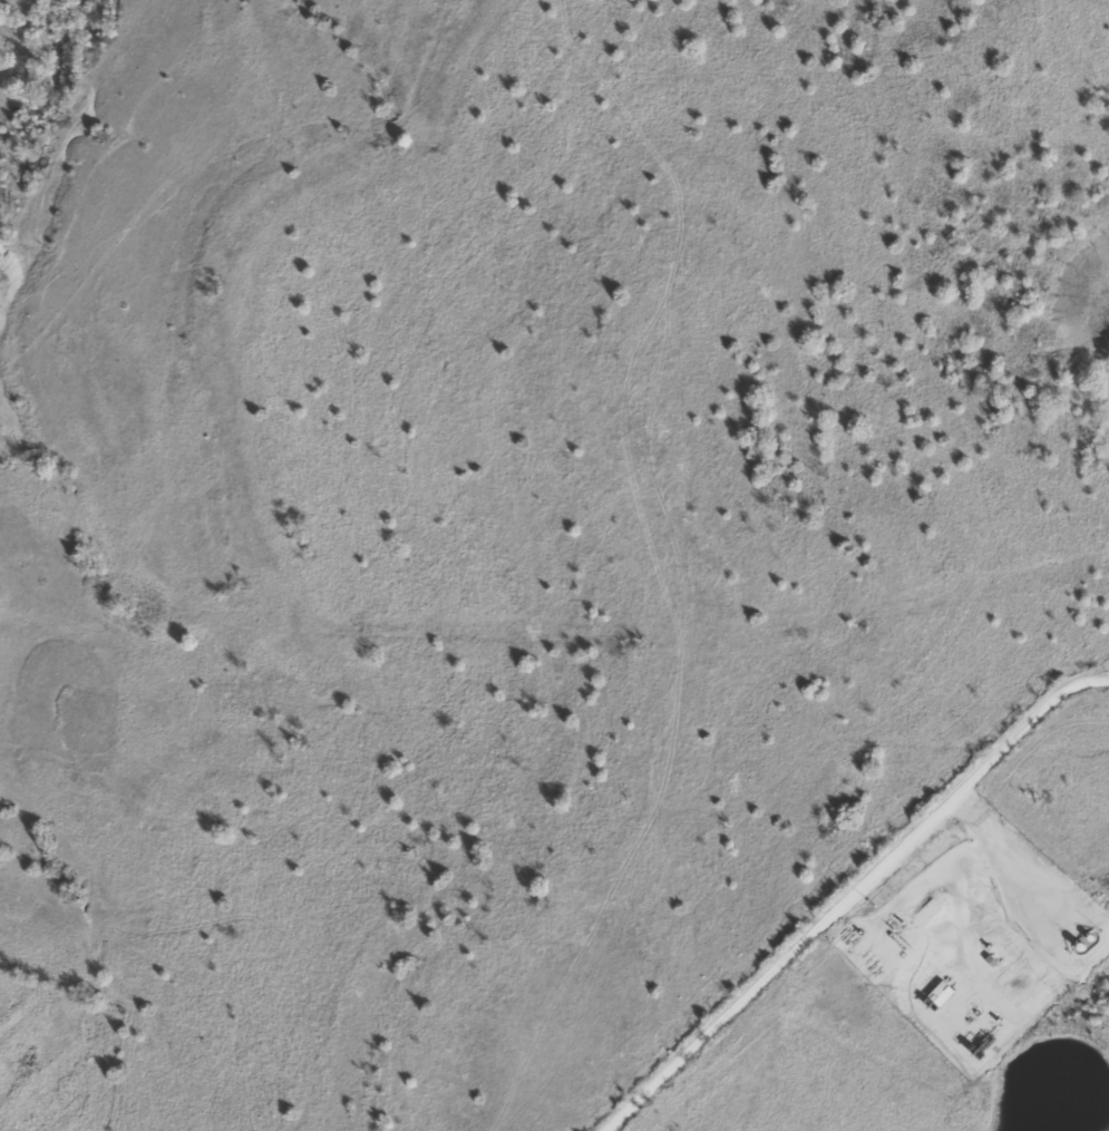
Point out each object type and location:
road: (838, 880)
building: (938, 995)

